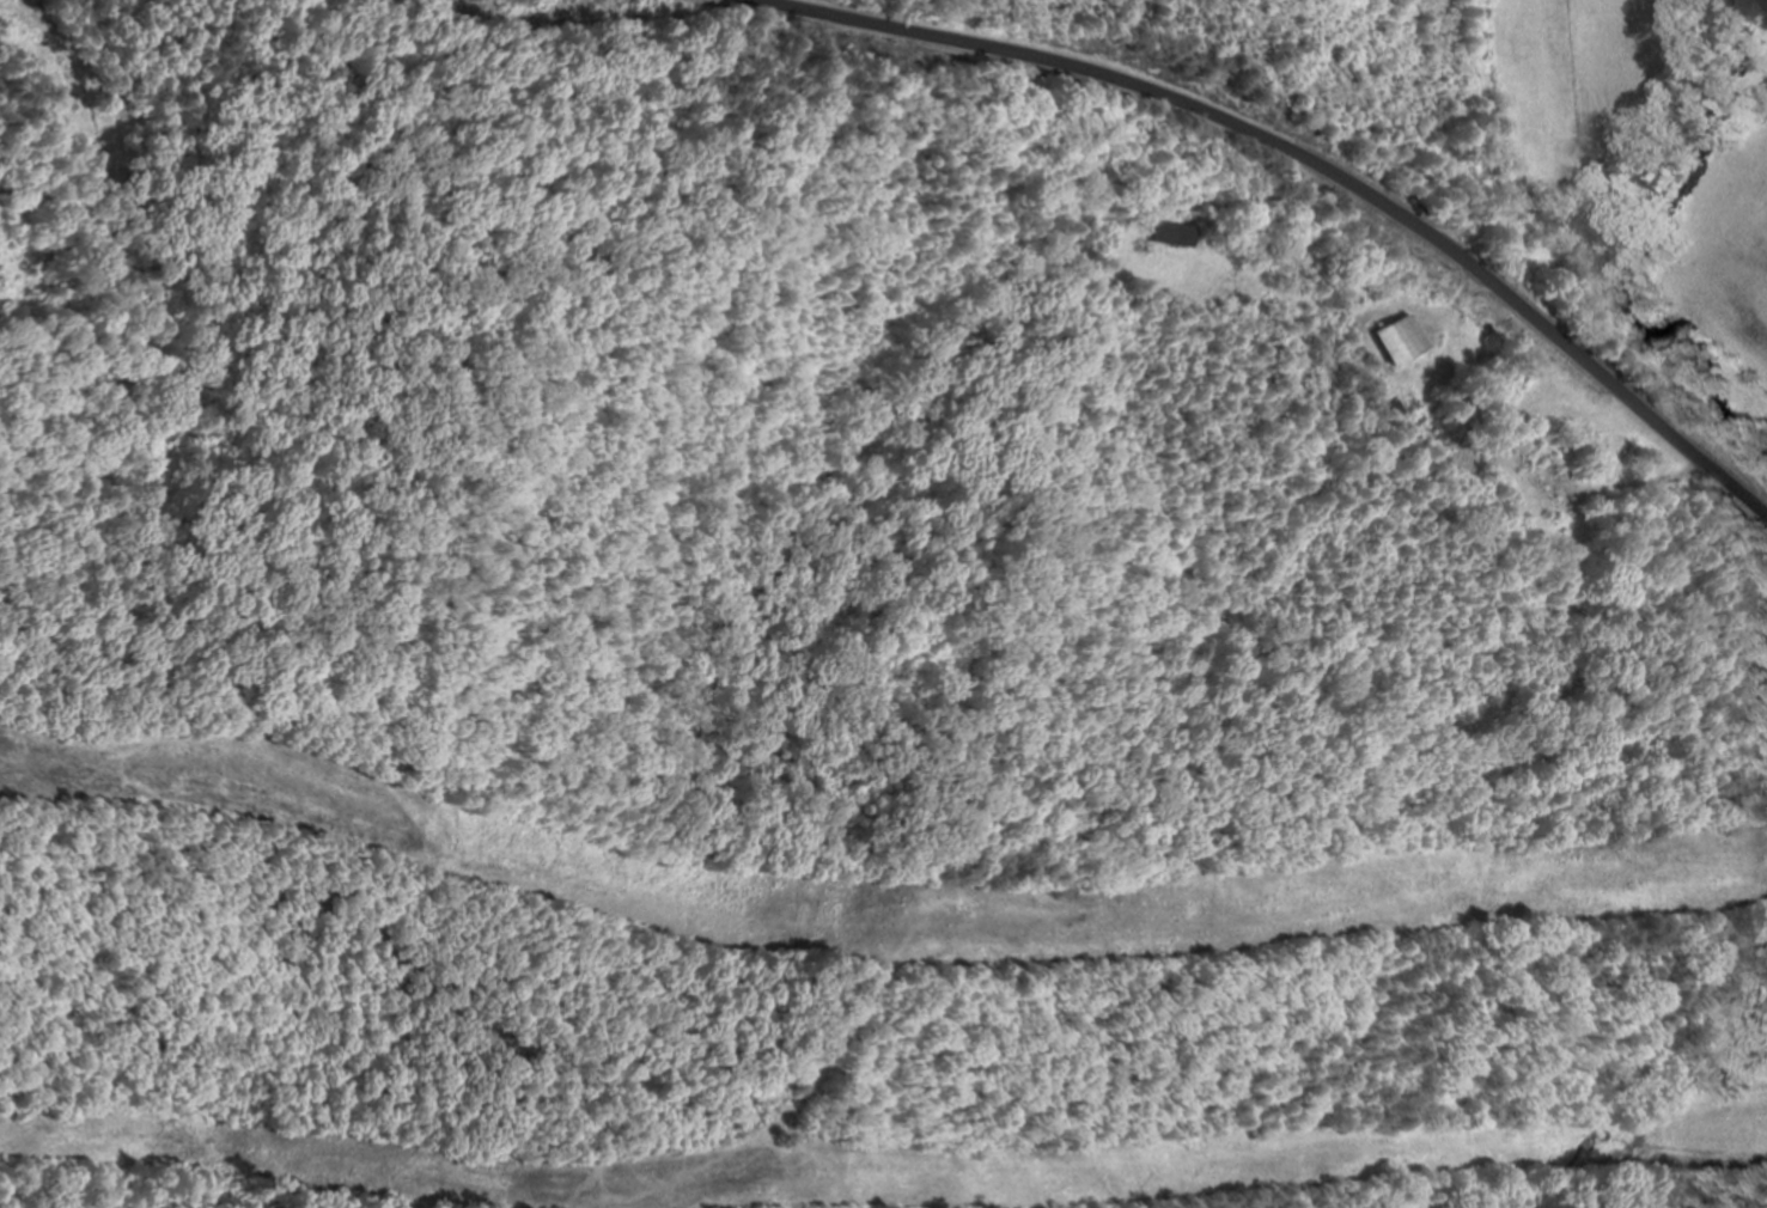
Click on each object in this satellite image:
road: (1312, 163)
building: (1400, 340)

